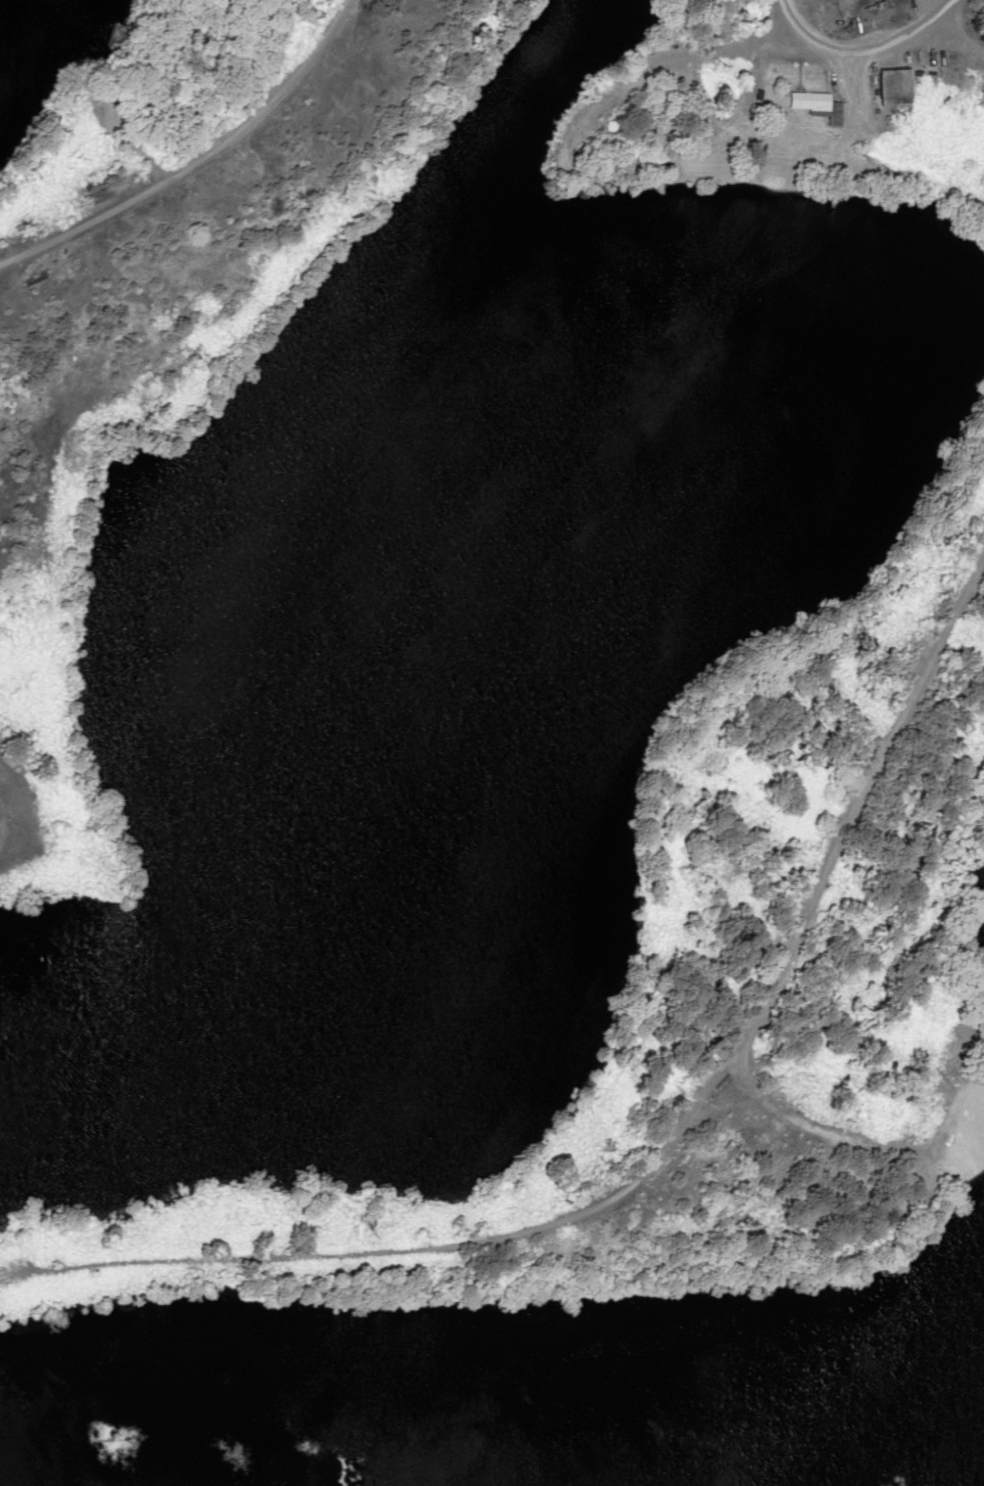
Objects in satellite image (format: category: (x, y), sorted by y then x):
building: (897, 84)
building: (817, 105)

